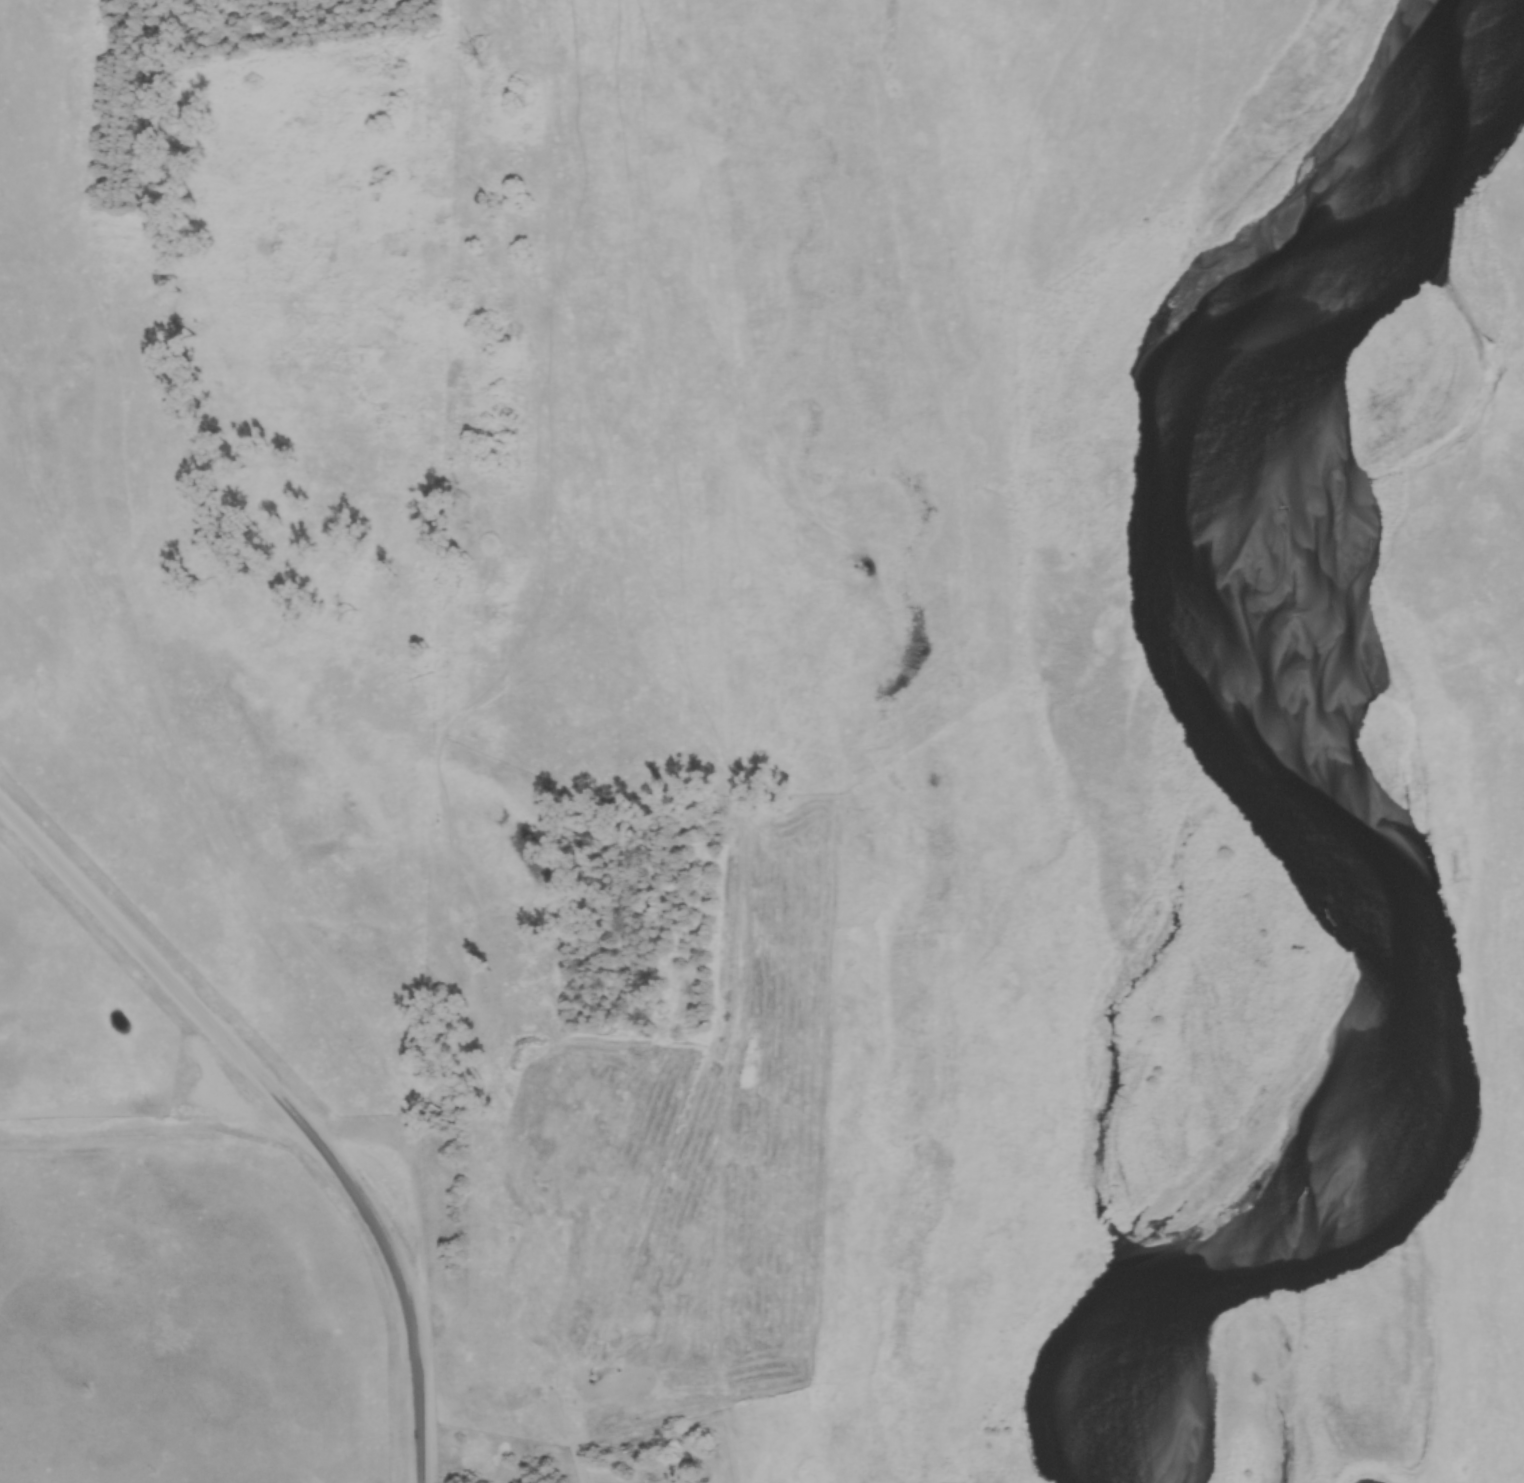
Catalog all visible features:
river: (1335, 762)
road: (280, 1114)

